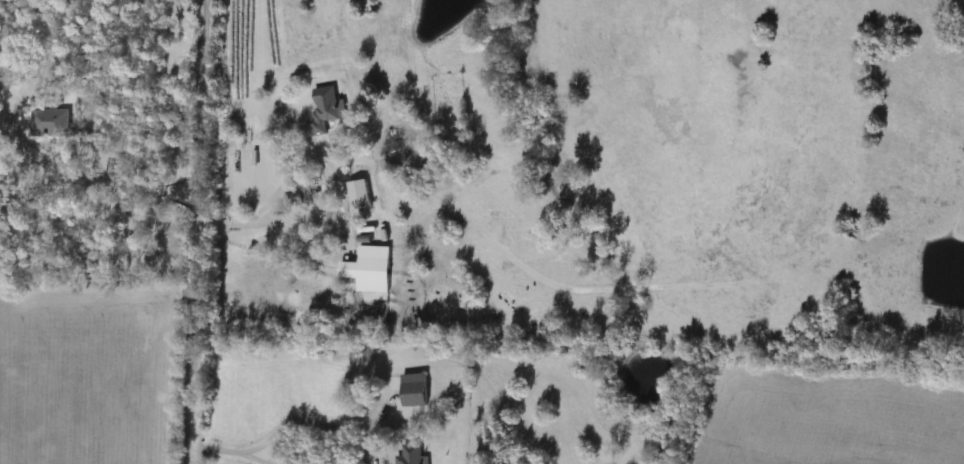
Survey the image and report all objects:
building: (323, 109)
building: (51, 122)
road: (379, 173)
road: (109, 181)
road: (325, 202)
road: (198, 231)
building: (366, 268)
building: (410, 390)
road: (309, 422)
road: (217, 447)
building: (409, 455)
road: (257, 457)

